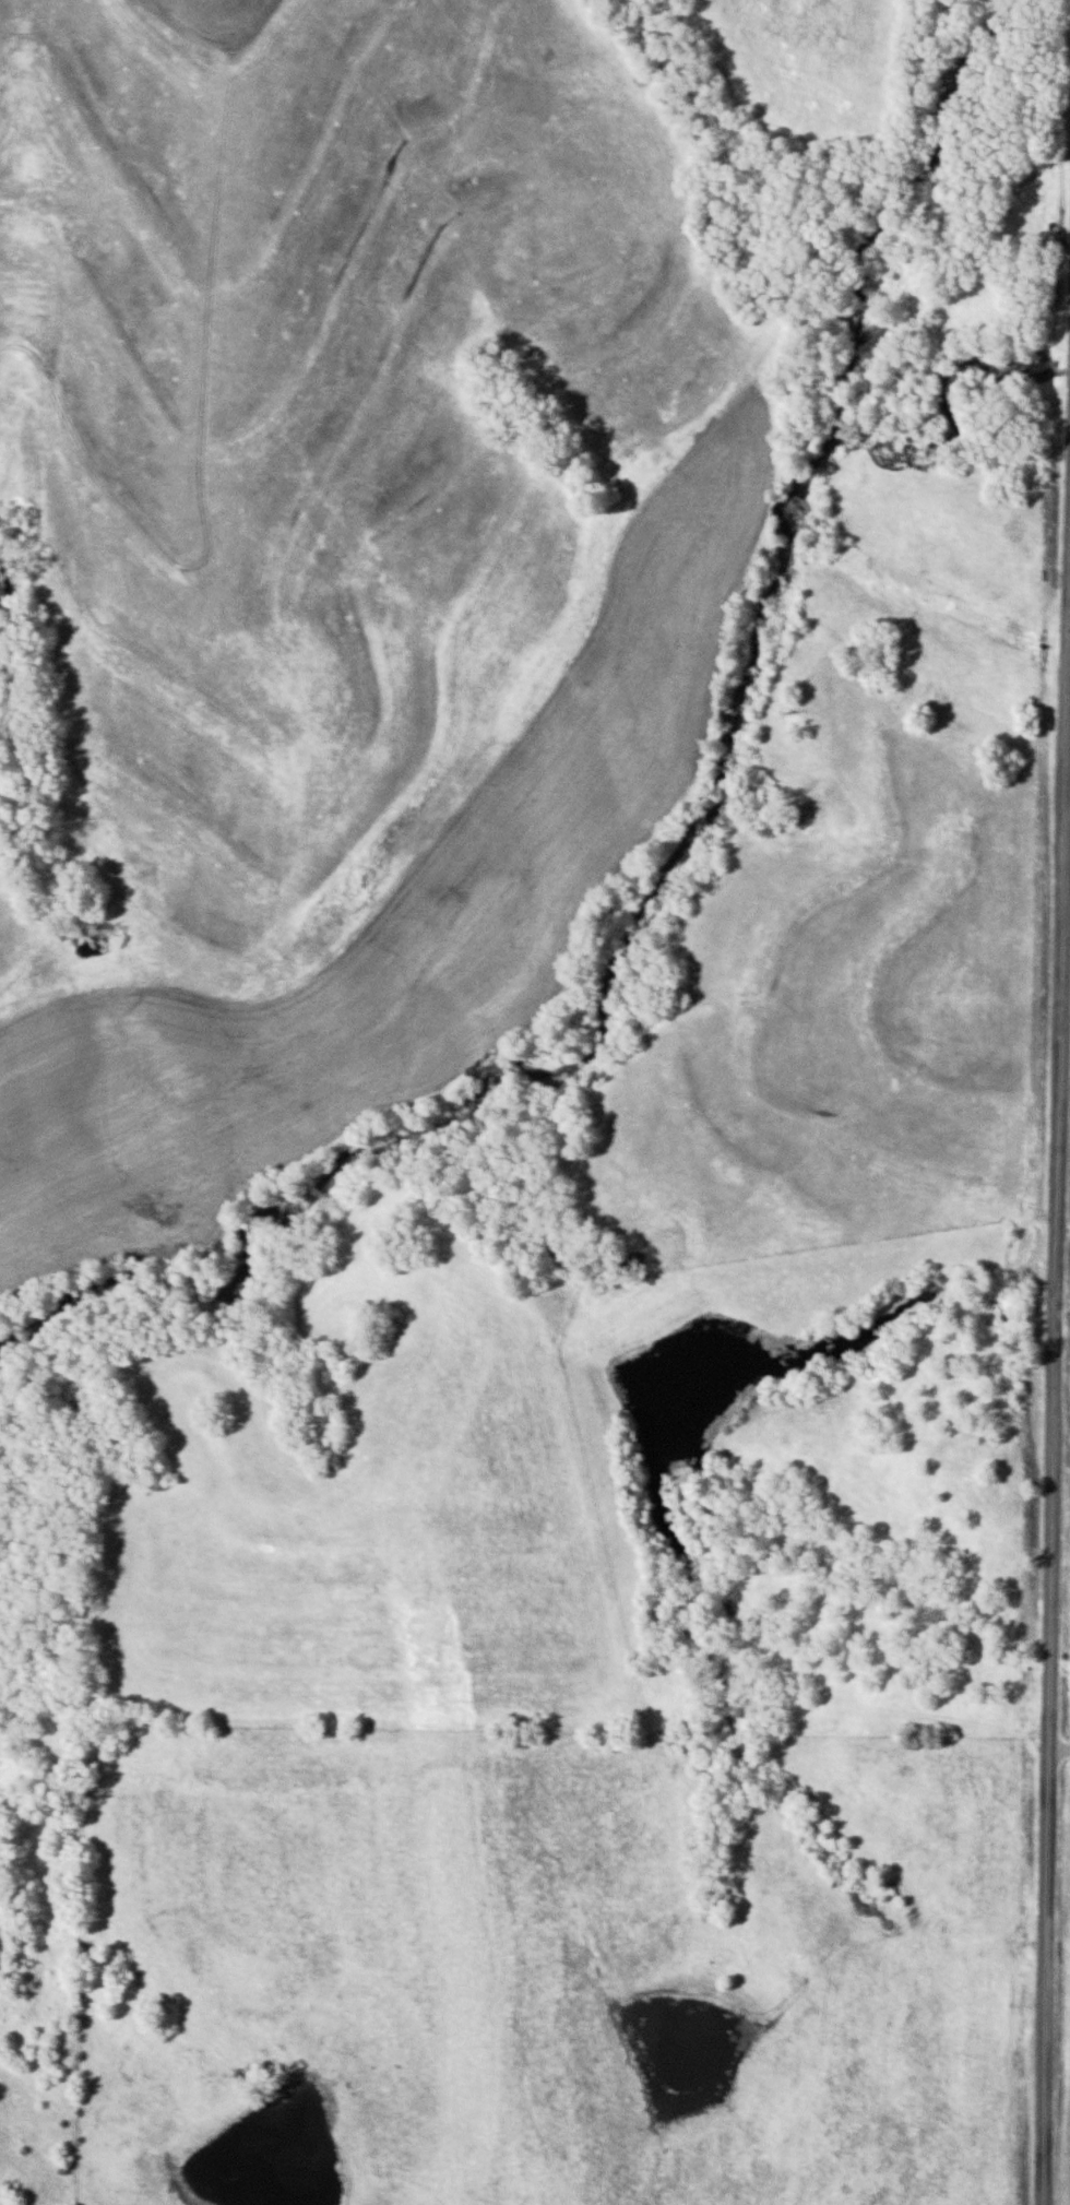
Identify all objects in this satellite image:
road: (1056, 1586)
road: (1060, 1798)

